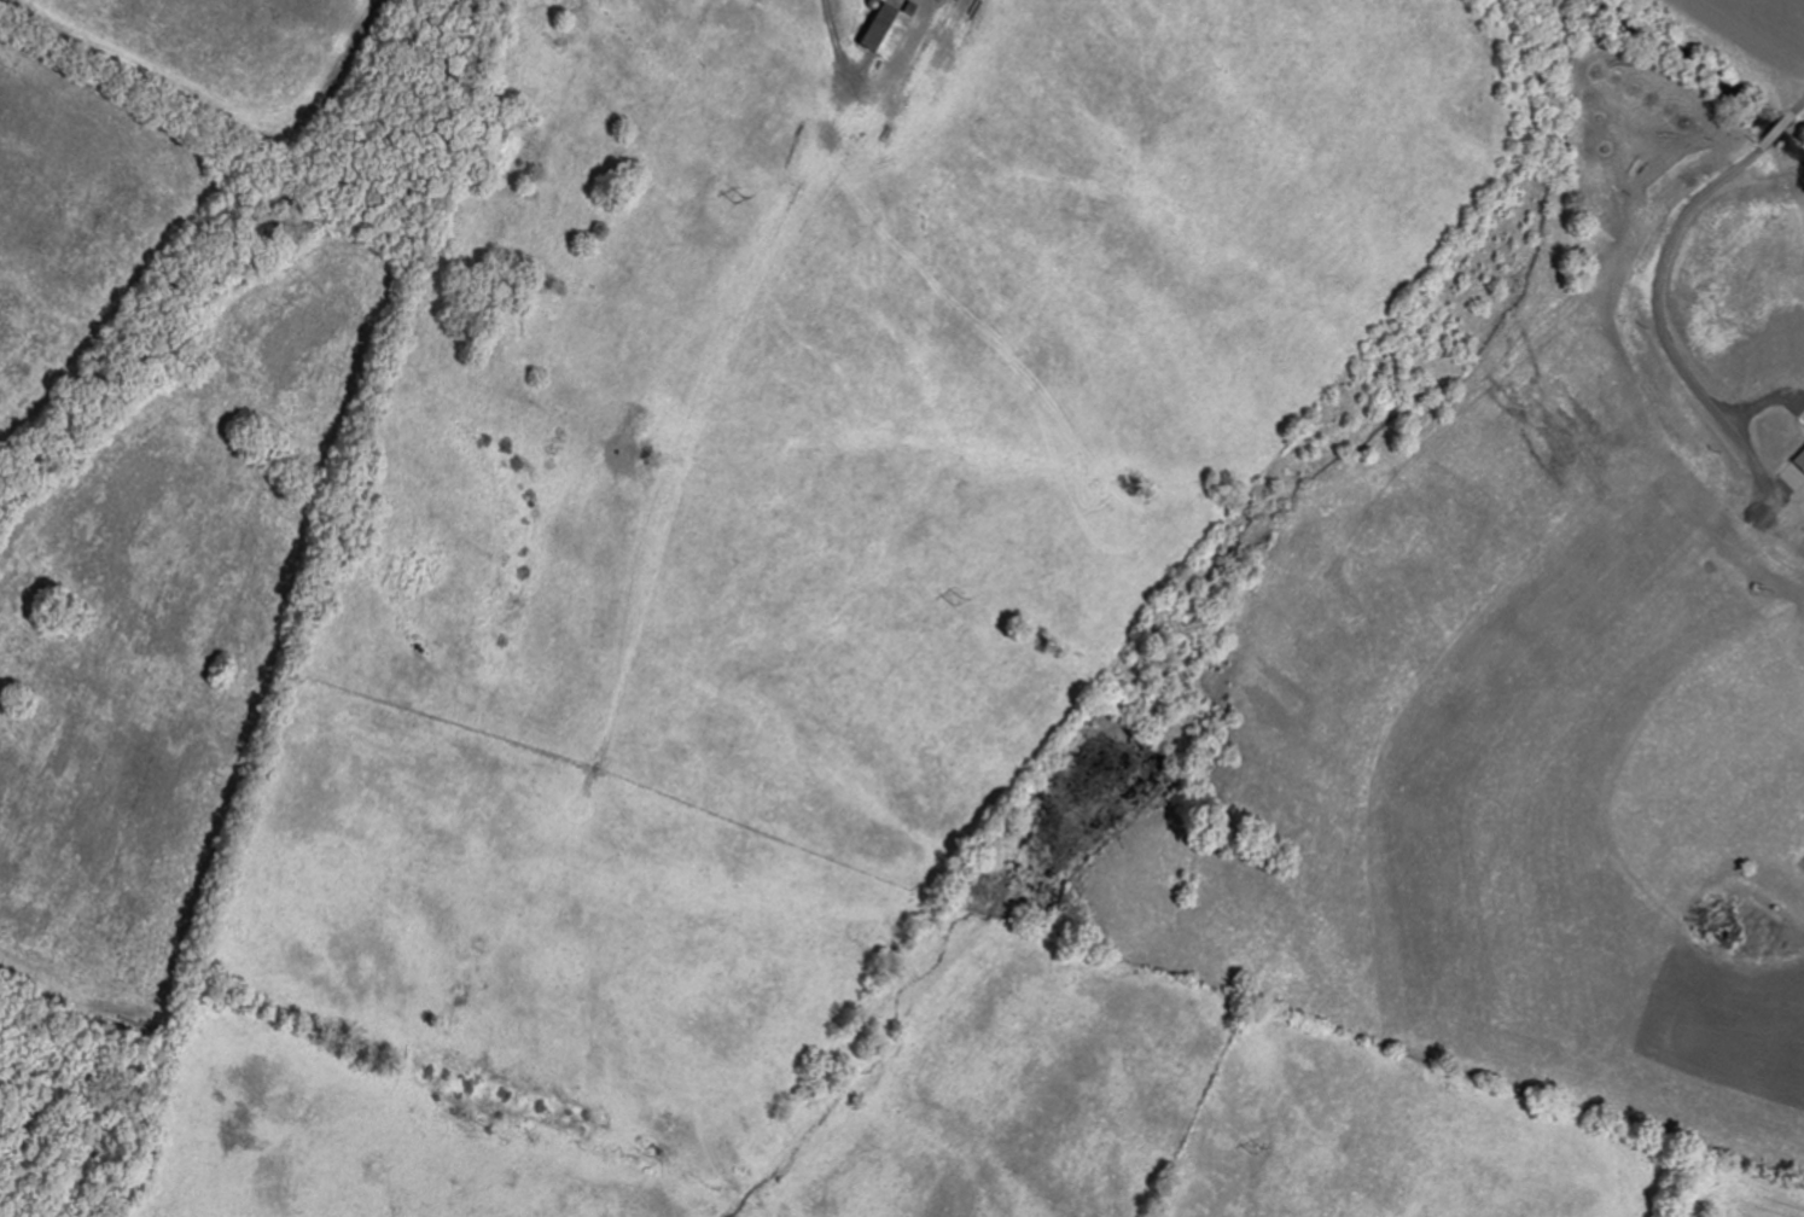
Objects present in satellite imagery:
building: (892, 33)
road: (1653, 279)

